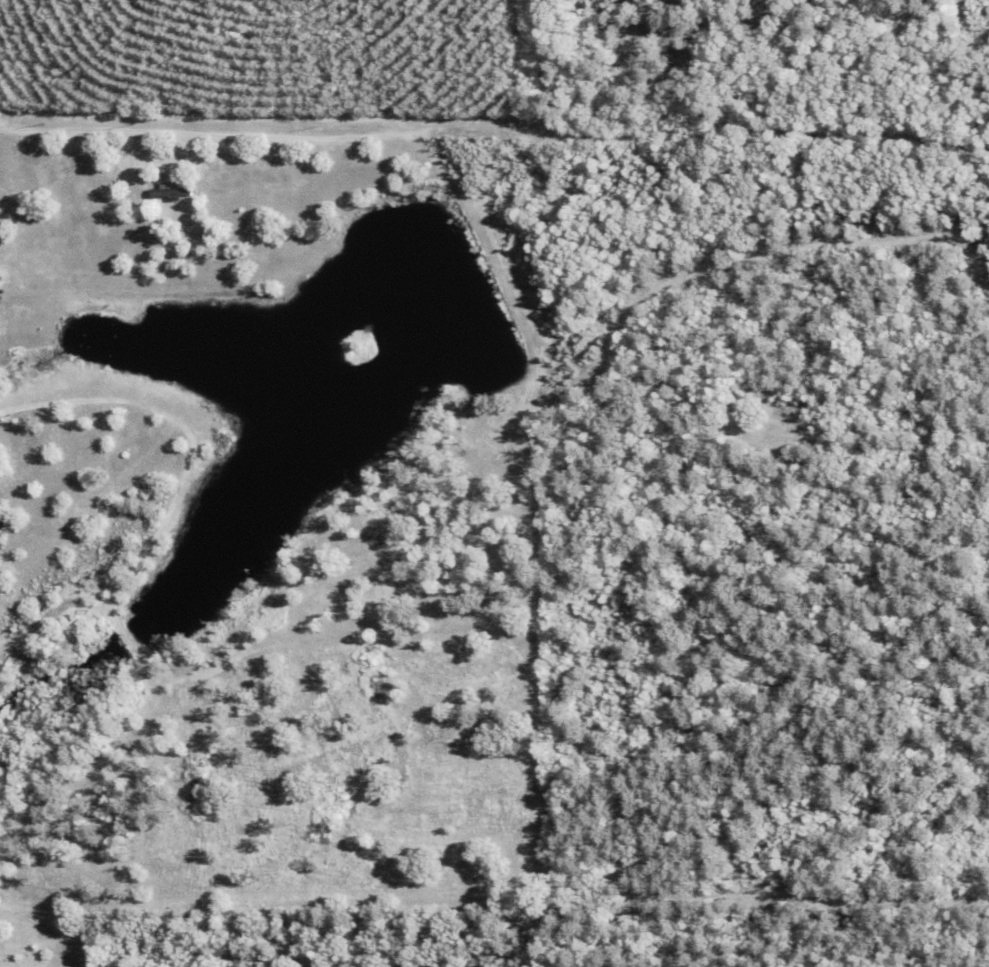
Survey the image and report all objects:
building: (558, 6)
road: (350, 82)
building: (171, 192)

